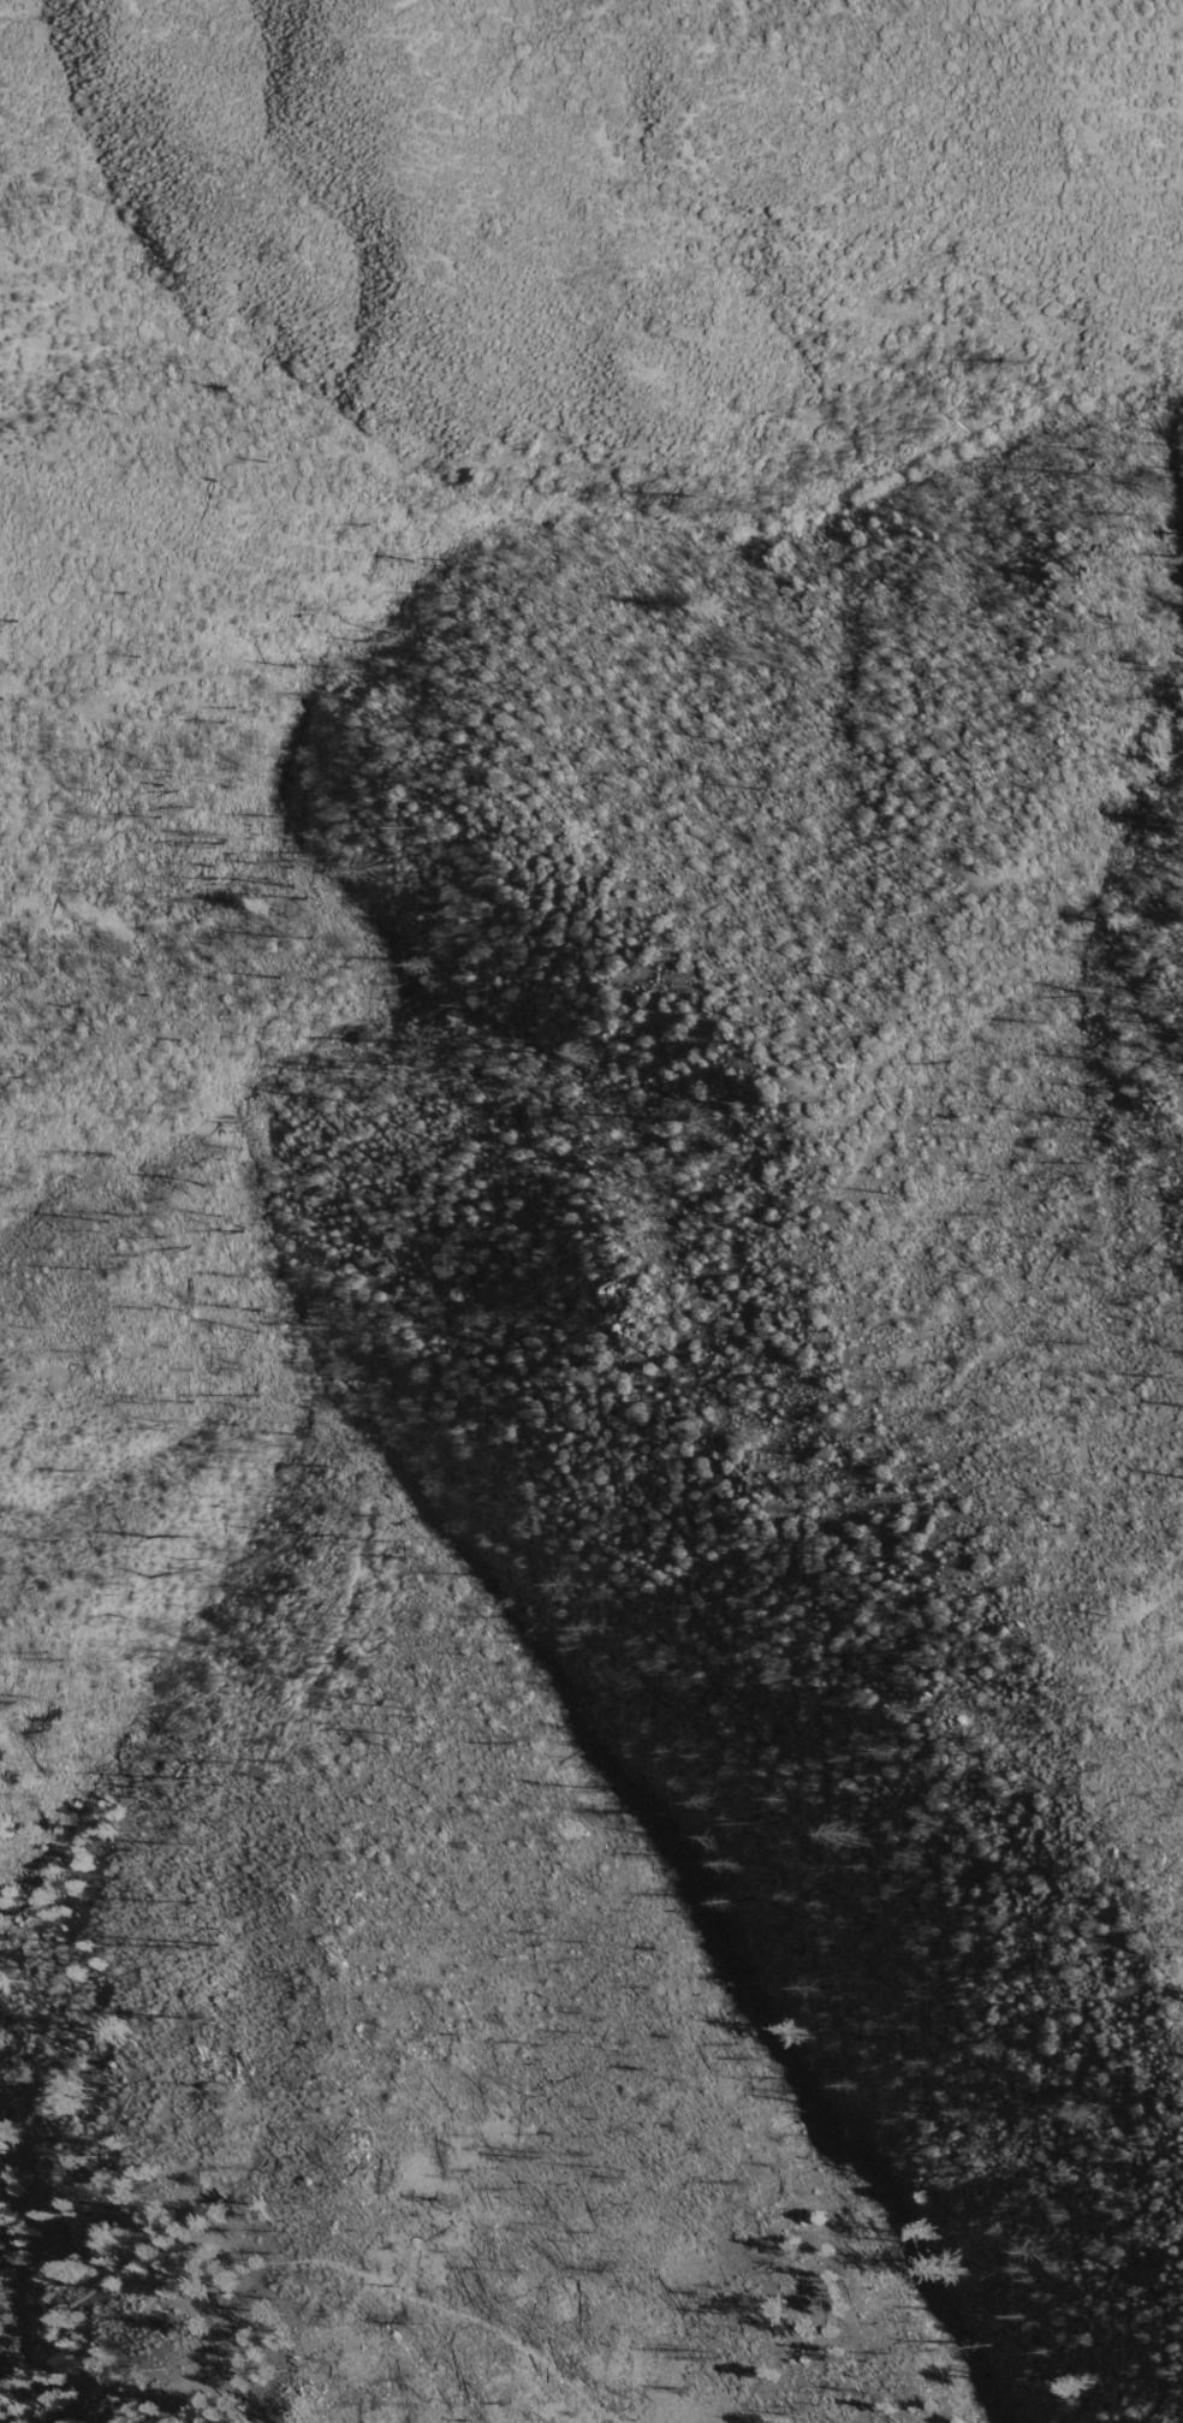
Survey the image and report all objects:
road: (308, 2257)
road: (1163, 2329)

